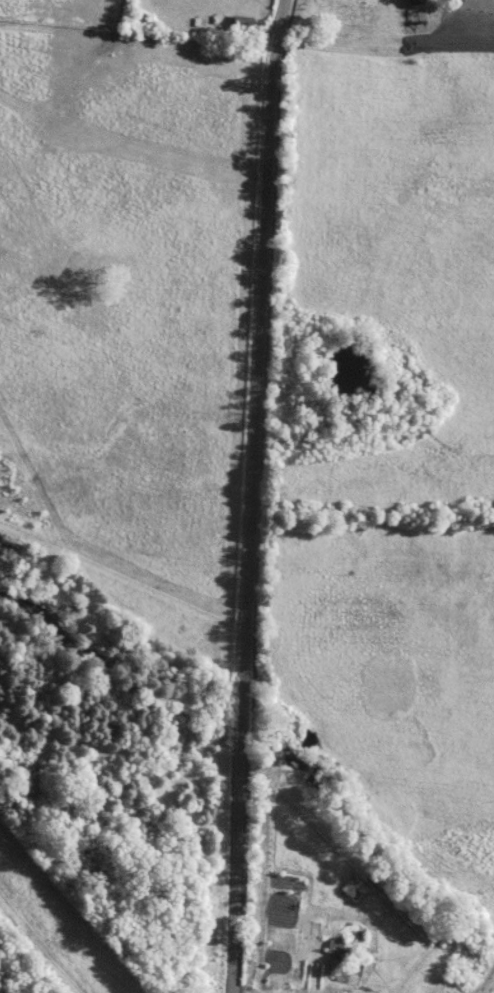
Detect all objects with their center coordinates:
building: (485, 8)
building: (240, 26)
road: (247, 495)

